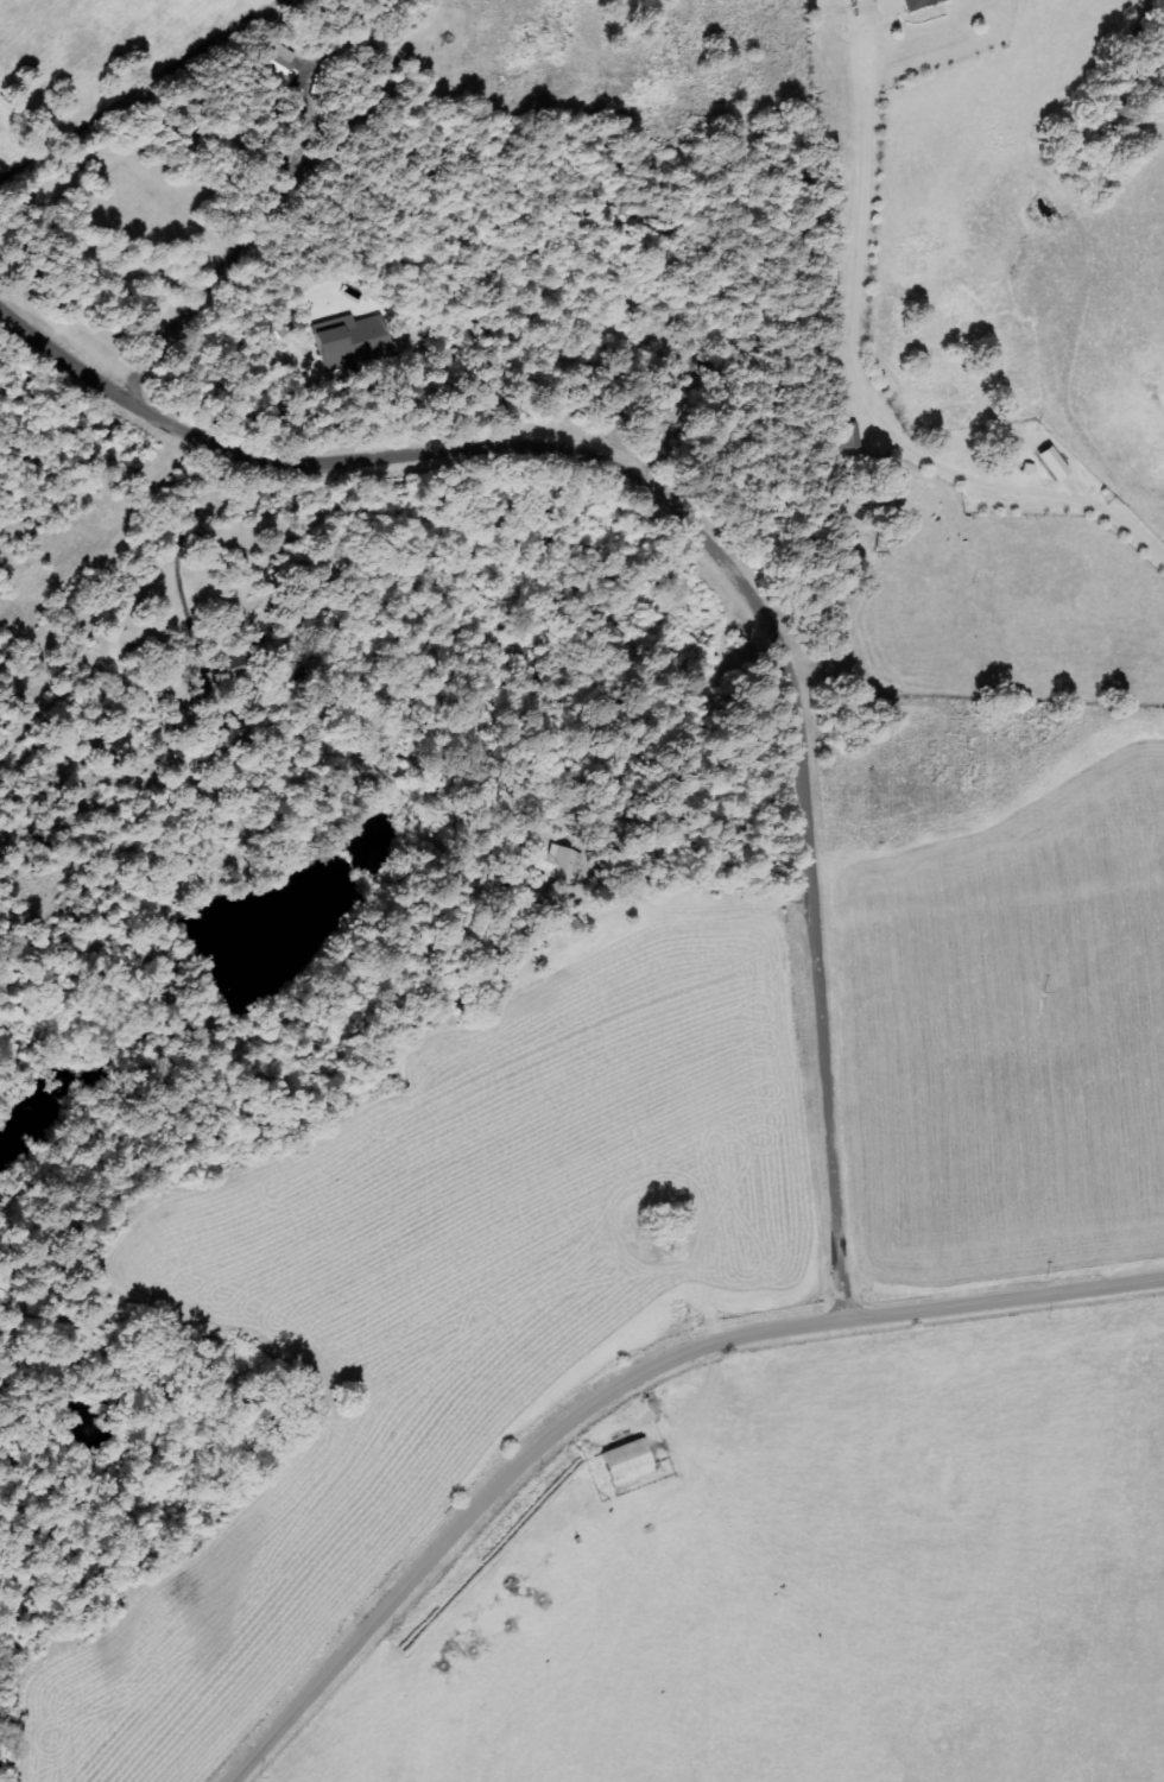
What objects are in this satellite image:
building: (932, 6)
building: (281, 62)
road: (869, 391)
building: (846, 436)
building: (1055, 462)
road: (716, 551)
building: (570, 867)
road: (626, 1388)
building: (635, 1470)

